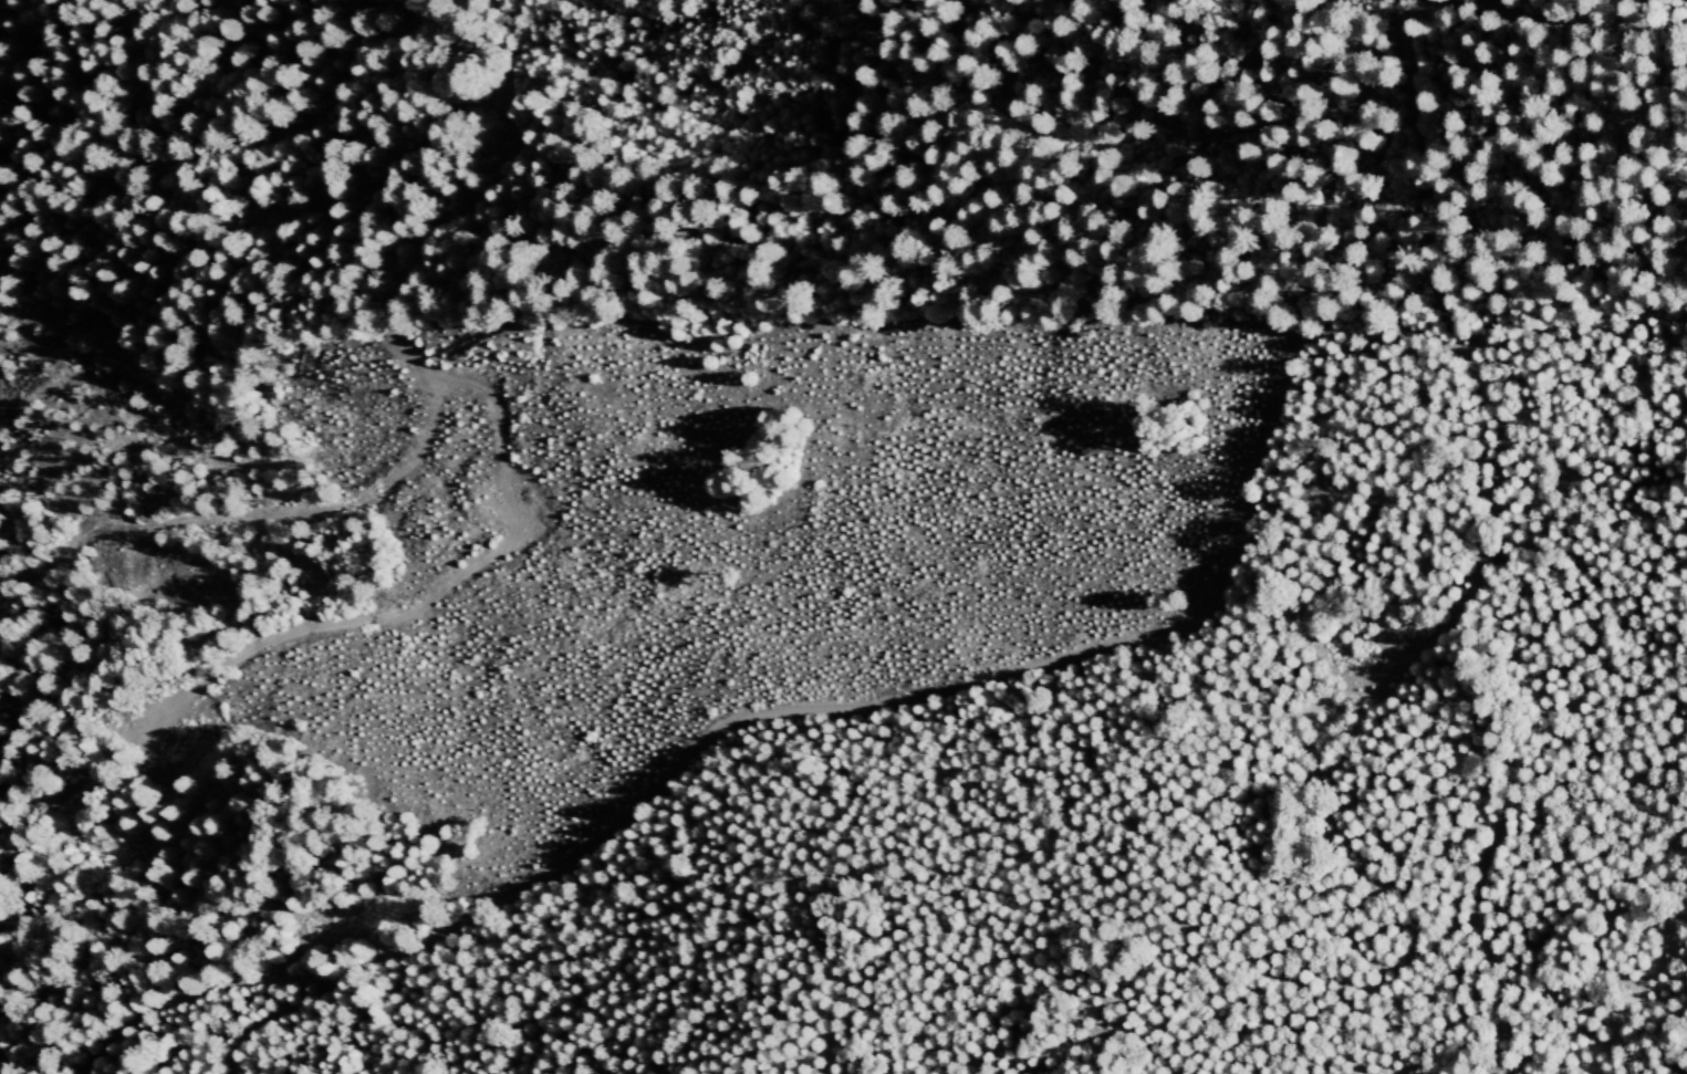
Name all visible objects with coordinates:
road: (512, 499)
road: (1488, 533)
road: (1046, 663)

